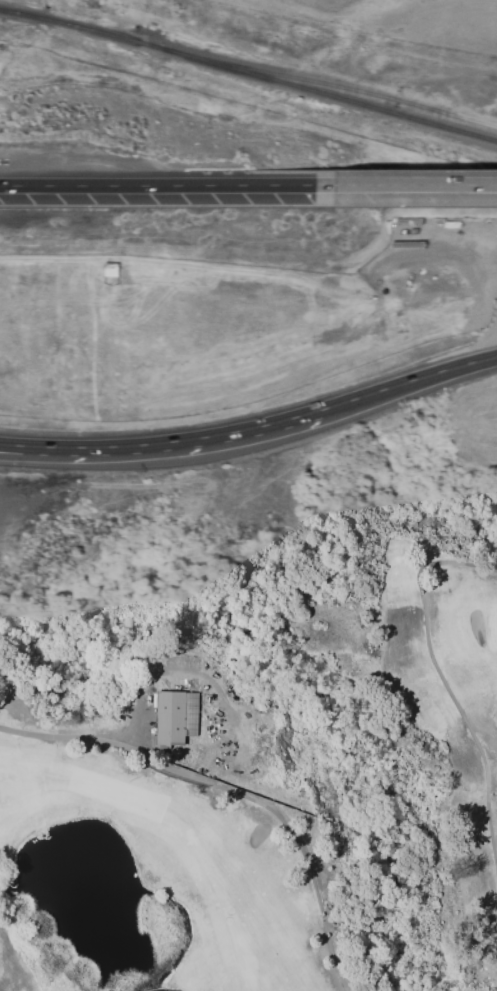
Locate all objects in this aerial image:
railway: (249, 73)
railway: (329, 85)
road: (158, 185)
road: (407, 185)
road: (496, 258)
road: (410, 381)
road: (233, 432)
road: (70, 448)
road: (71, 452)
park: (255, 705)
road: (137, 712)
building: (173, 716)

